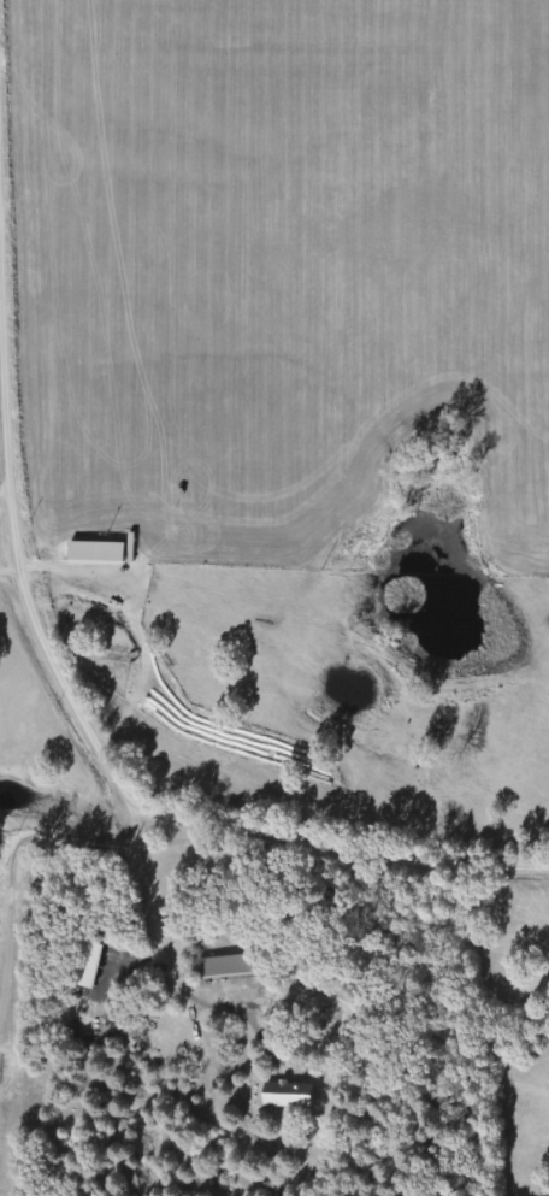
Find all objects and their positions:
road: (6, 495)
building: (98, 554)
road: (12, 573)
road: (82, 706)
building: (228, 966)
building: (288, 1095)

